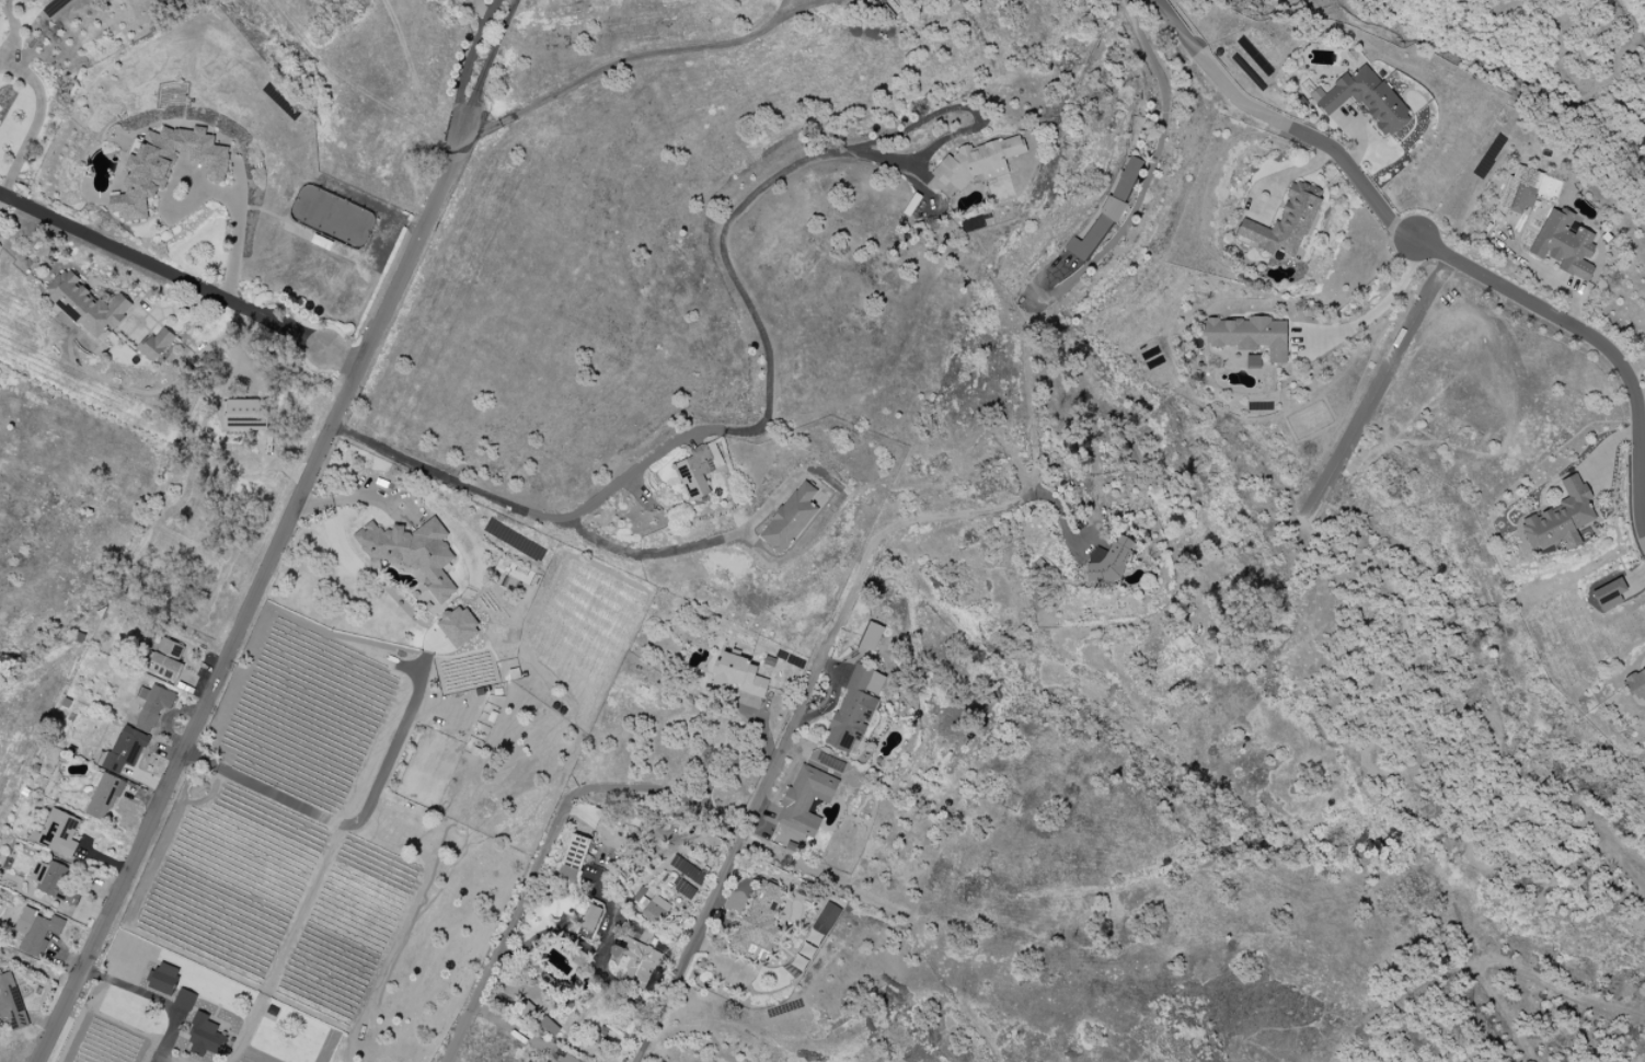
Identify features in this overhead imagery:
road: (639, 56)
road: (474, 59)
building: (1368, 101)
road: (38, 119)
building: (977, 161)
building: (164, 166)
road: (1303, 169)
road: (1157, 171)
building: (1126, 178)
road: (1254, 186)
building: (1522, 197)
building: (1286, 222)
road: (237, 231)
building: (1094, 231)
building: (1564, 243)
road: (1438, 253)
road: (181, 276)
building: (85, 307)
road: (1384, 310)
building: (1251, 336)
building: (156, 344)
building: (1252, 361)
road: (1635, 366)
road: (1376, 393)
building: (244, 414)
road: (741, 430)
building: (698, 470)
road: (346, 498)
building: (789, 518)
building: (1558, 519)
road: (281, 532)
road: (685, 549)
building: (412, 552)
building: (1107, 562)
building: (1608, 595)
building: (457, 625)
building: (871, 636)
building: (166, 659)
building: (737, 674)
building: (1636, 684)
building: (152, 706)
building: (854, 708)
road: (790, 727)
building: (123, 750)
road: (1392, 771)
road: (698, 792)
building: (103, 795)
building: (805, 799)
road: (344, 827)
building: (56, 833)
building: (574, 852)
building: (54, 881)
building: (682, 889)
building: (651, 907)
building: (590, 917)
building: (758, 917)
building: (825, 919)
building: (35, 931)
road: (513, 933)
building: (635, 961)
building: (162, 979)
building: (184, 1000)
building: (10, 1003)
building: (545, 1024)
road: (521, 1035)
building: (202, 1036)
building: (527, 1061)

